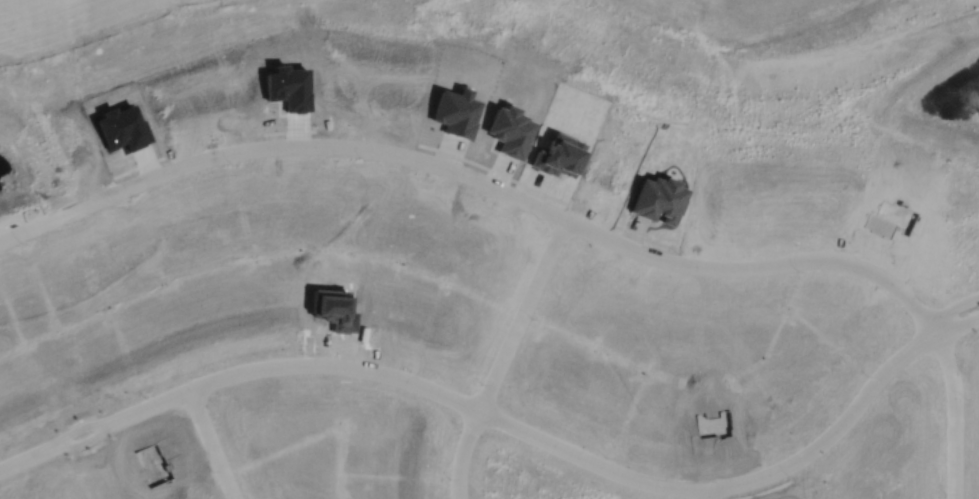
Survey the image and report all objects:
road: (482, 179)
road: (953, 308)
road: (958, 326)
road: (504, 355)
road: (489, 414)
road: (956, 414)
road: (213, 444)
road: (708, 493)

